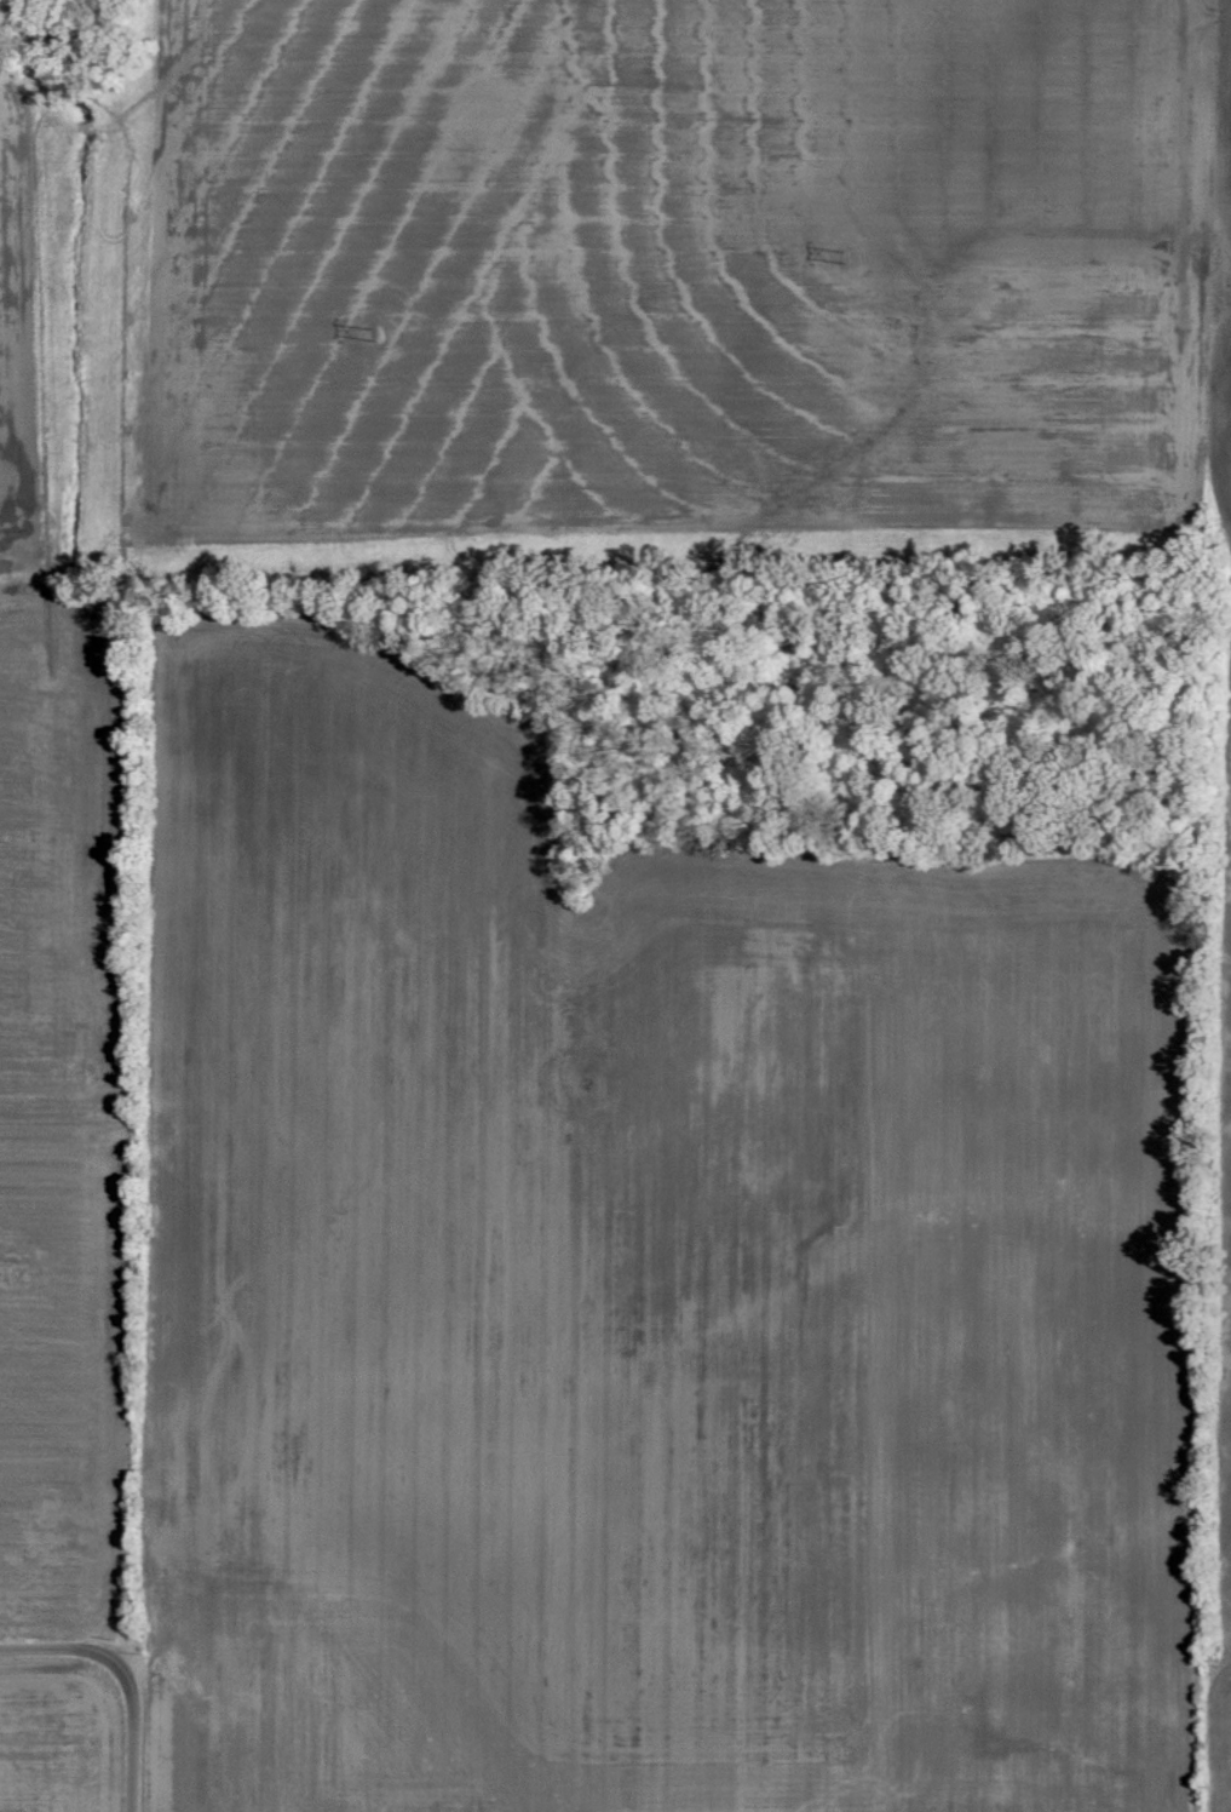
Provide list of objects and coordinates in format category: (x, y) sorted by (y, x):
road: (58, 1651)
road: (131, 1733)

